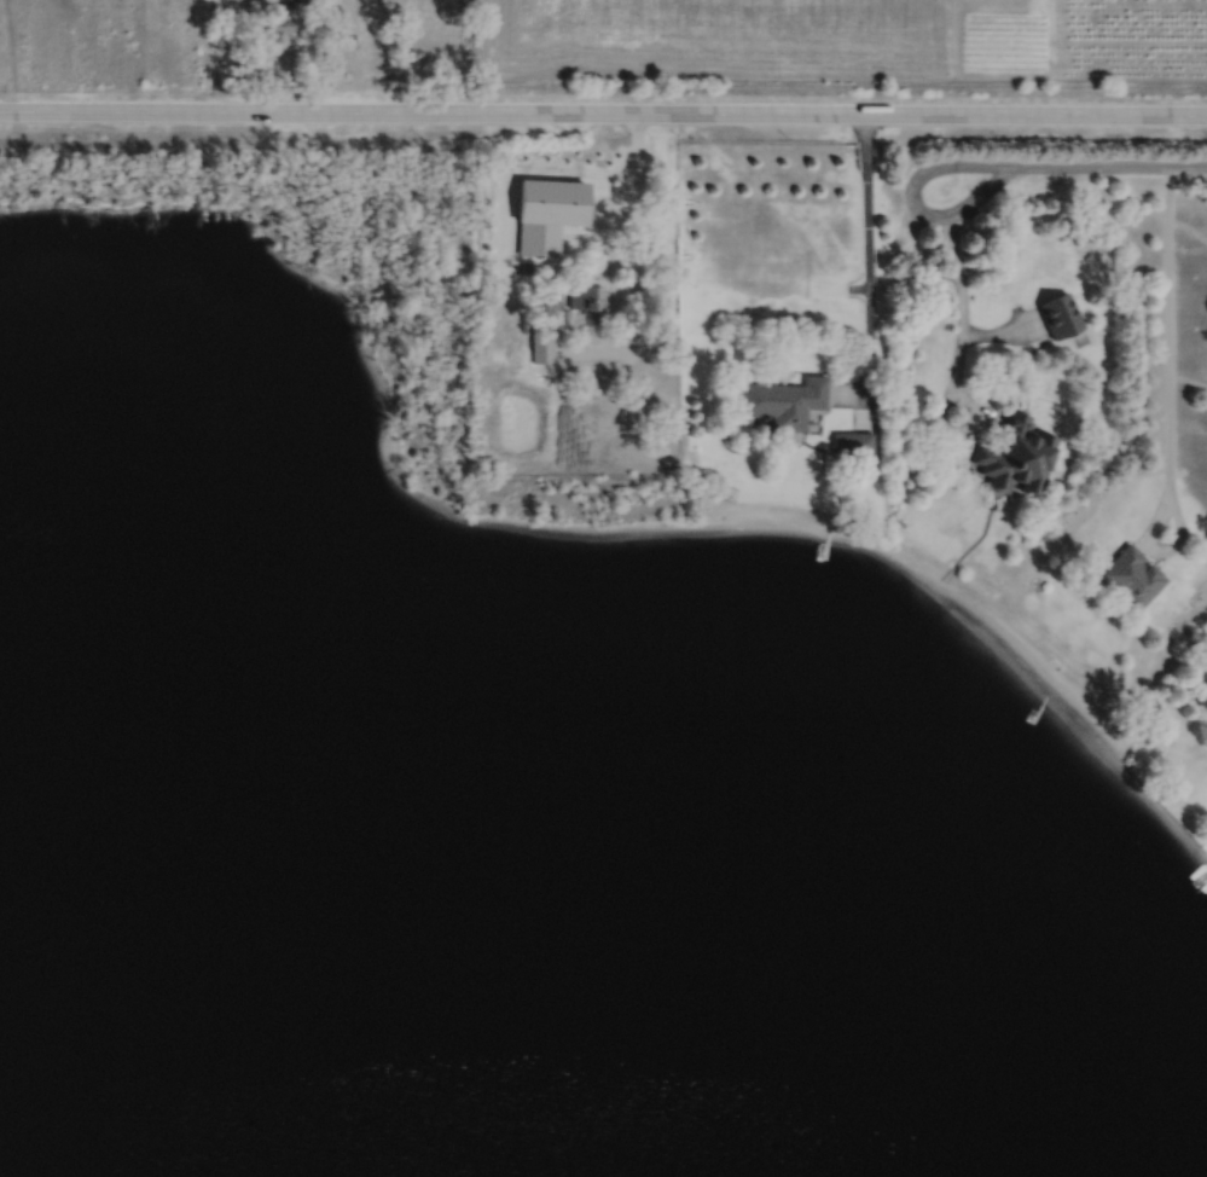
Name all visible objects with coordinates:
building: (302, 1)
building: (282, 19)
road: (232, 53)
road: (603, 110)
road: (1109, 164)
road: (913, 198)
road: (866, 254)
road: (638, 257)
road: (961, 302)
building: (587, 303)
building: (1058, 312)
building: (541, 343)
building: (784, 399)
road: (1167, 399)
road: (969, 422)
building: (852, 440)
building: (1016, 452)
building: (1131, 574)

